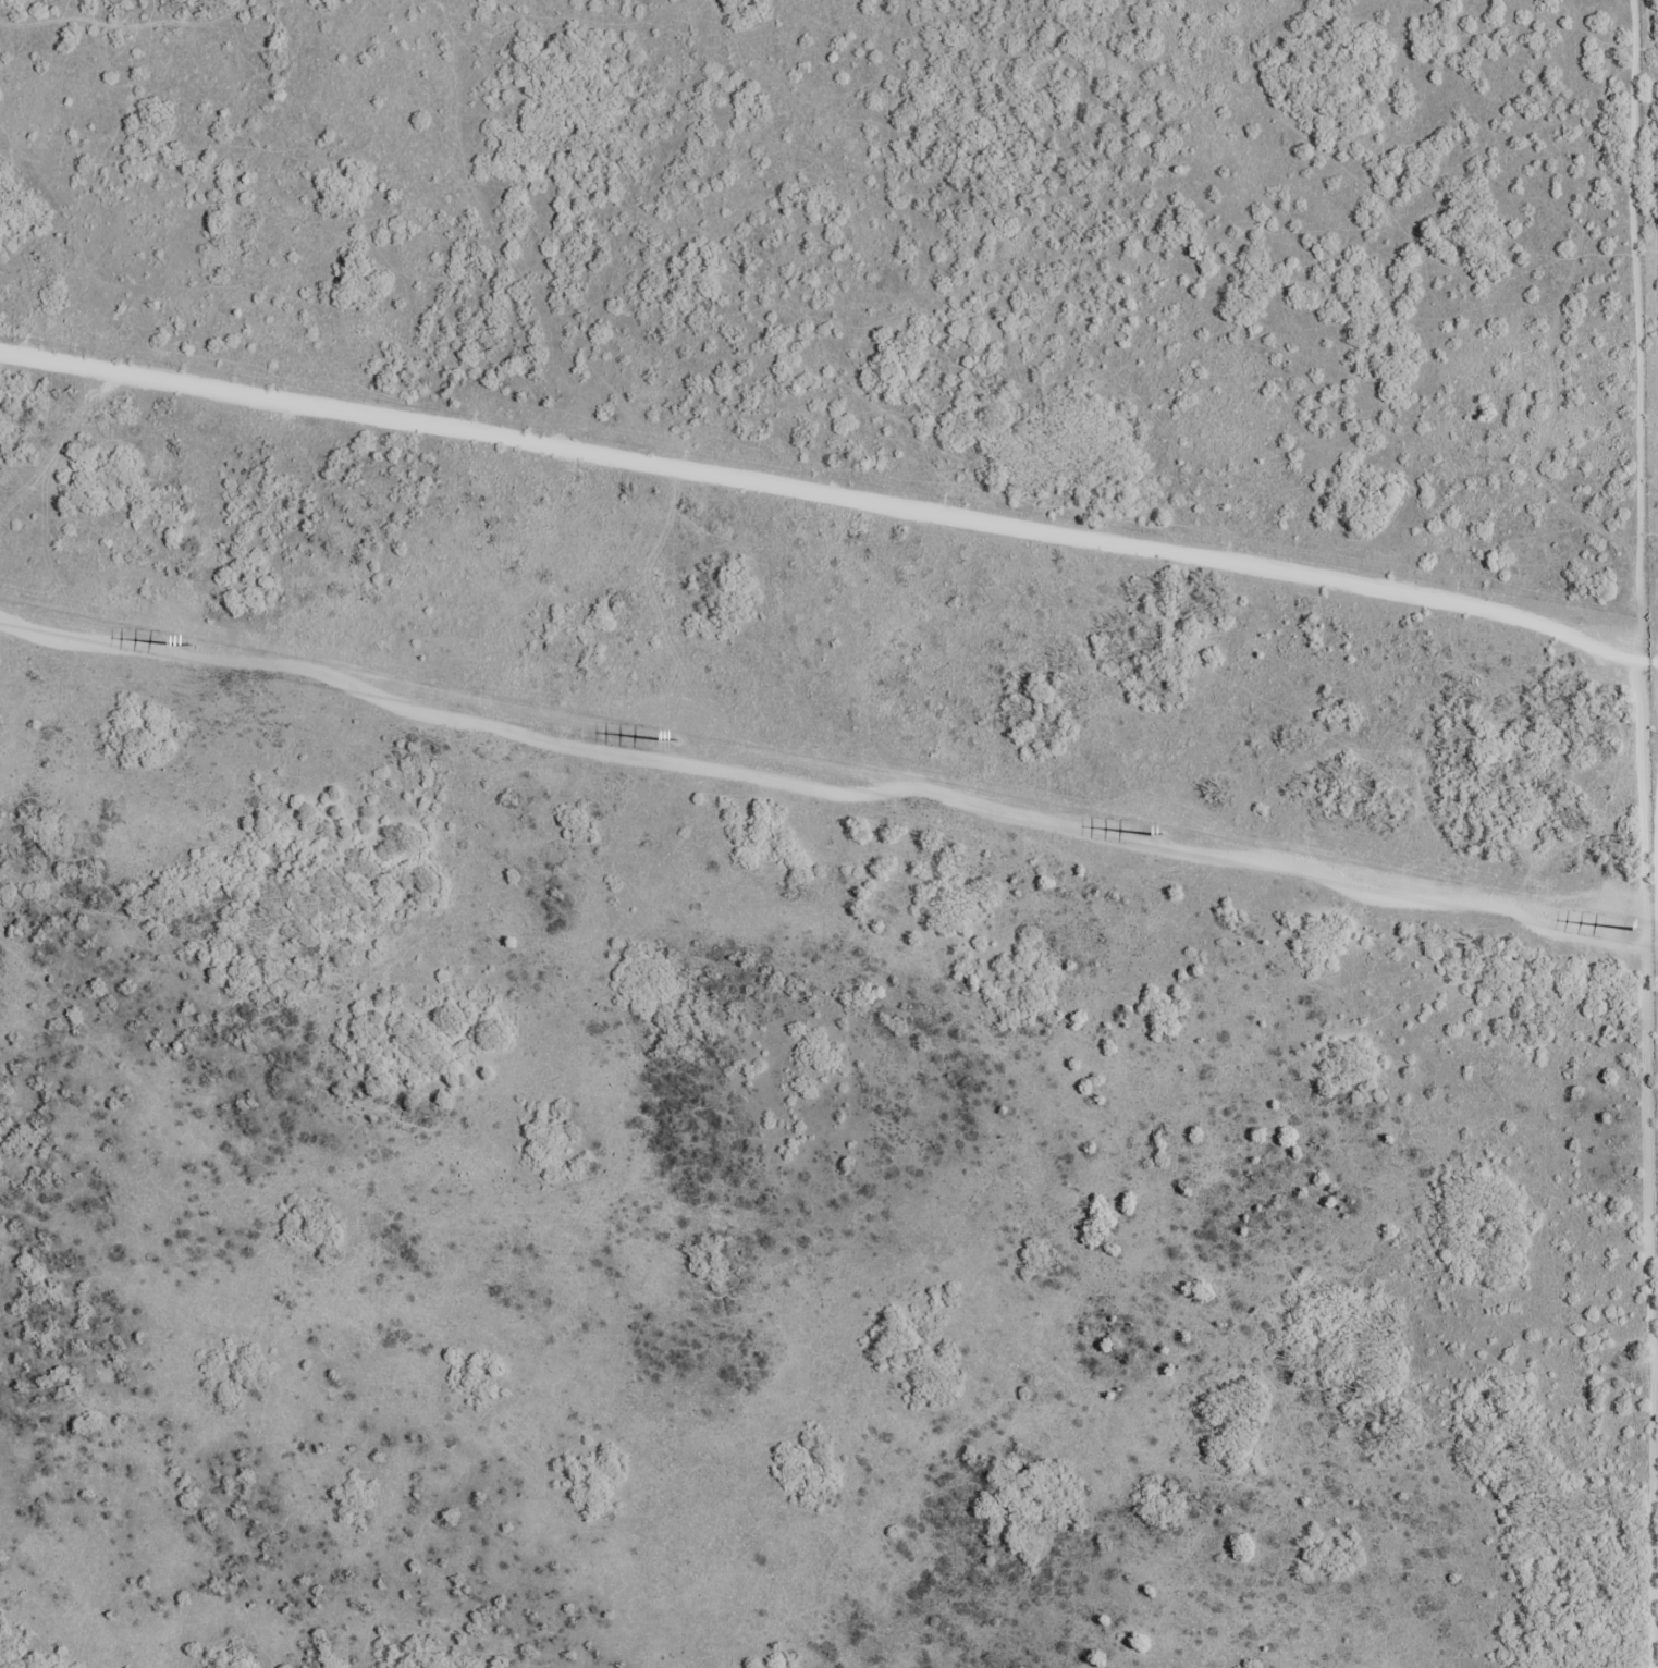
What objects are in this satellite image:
road: (828, 488)
power tower: (202, 651)
power tower: (677, 744)
power tower: (1156, 839)
power tower: (1636, 932)

